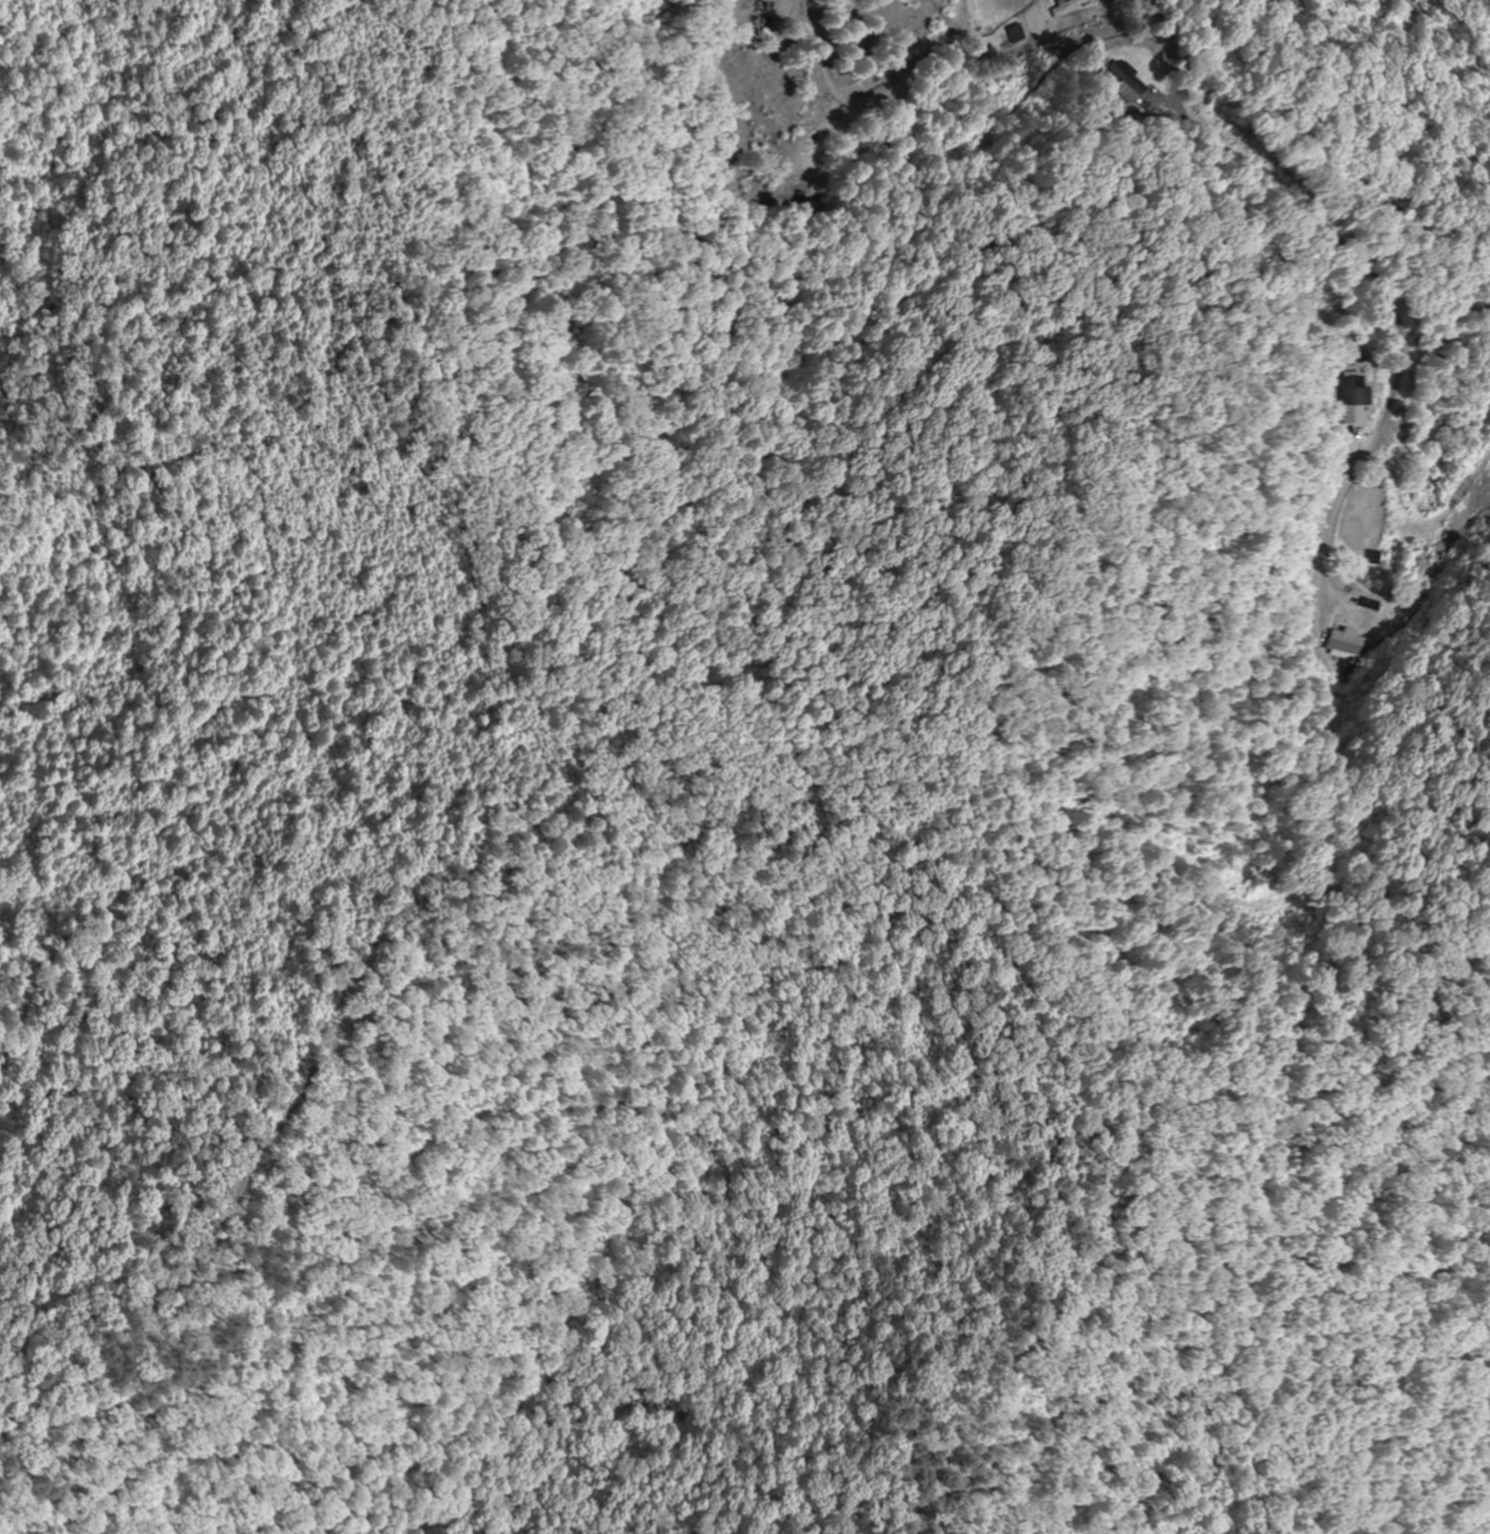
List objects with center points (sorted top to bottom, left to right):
building: (1004, 3)
building: (1021, 34)
building: (1131, 80)
road: (1323, 220)
building: (1356, 399)
building: (1352, 643)

